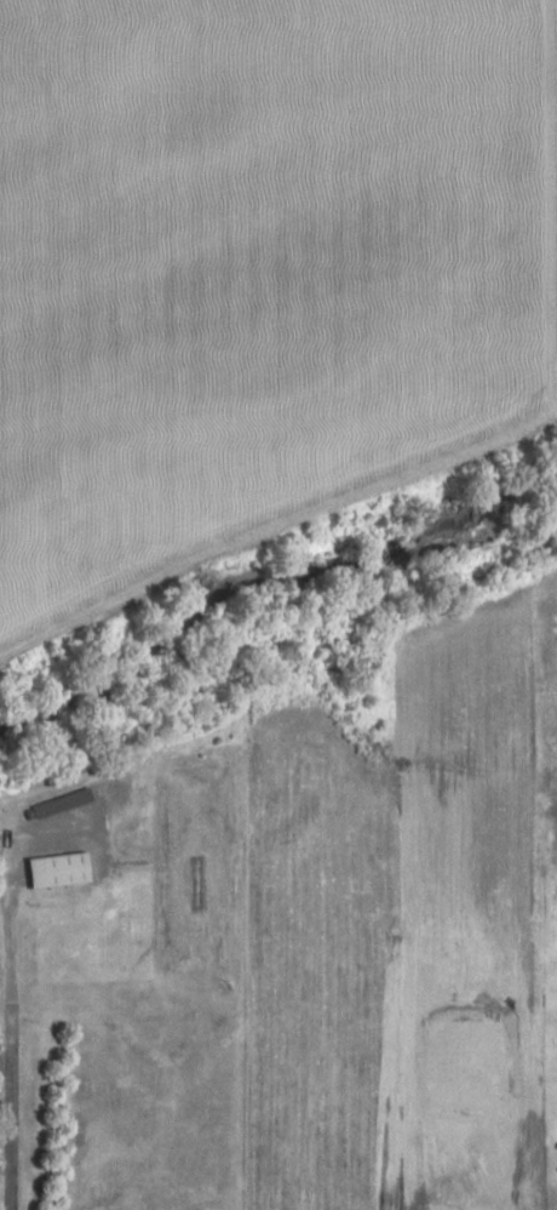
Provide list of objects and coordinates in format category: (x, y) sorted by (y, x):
building: (61, 801)
building: (57, 868)
road: (6, 1041)

